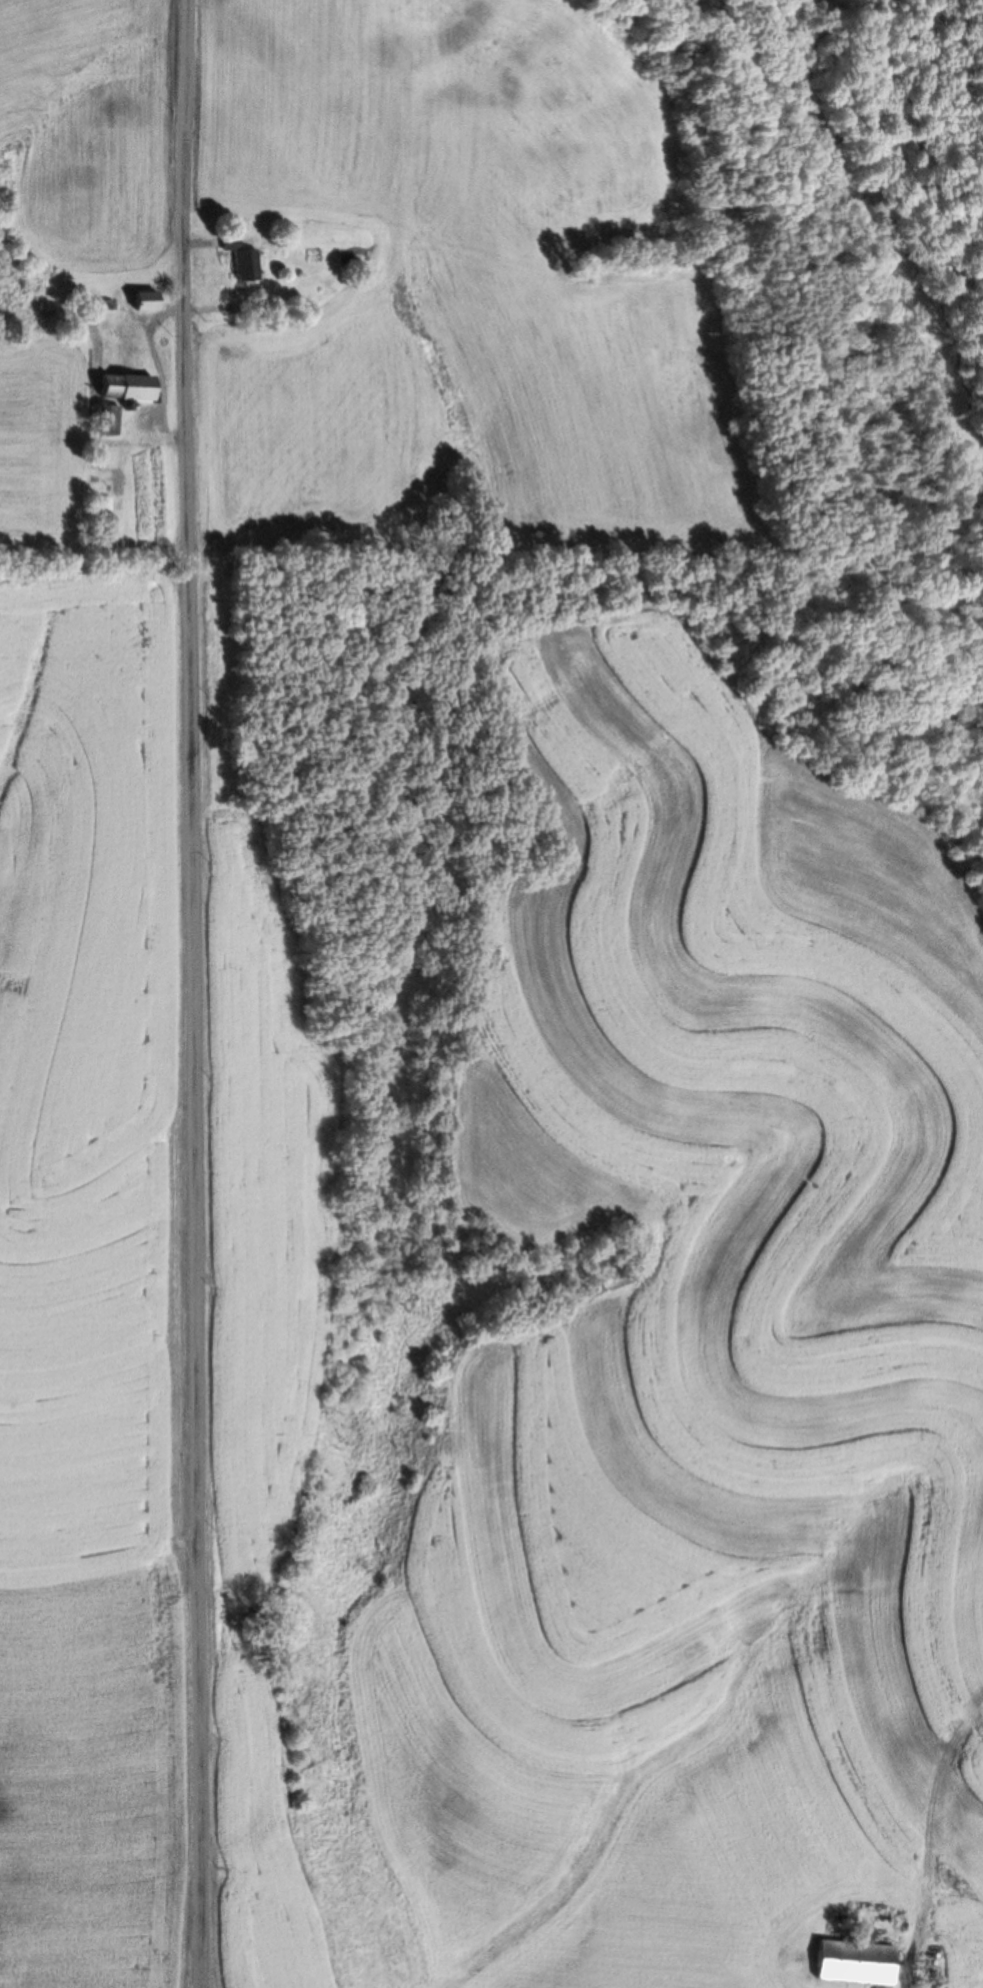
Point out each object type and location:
building: (243, 263)
building: (142, 300)
building: (119, 387)
building: (103, 420)
building: (98, 512)
road: (193, 993)
building: (850, 1963)

